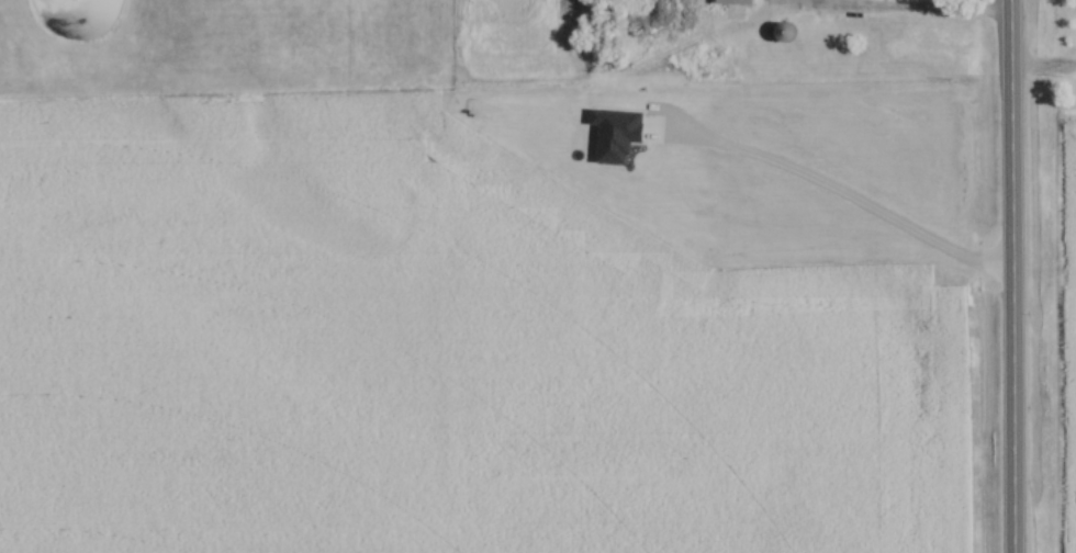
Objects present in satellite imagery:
building: (736, 2)
road: (881, 15)
building: (785, 33)
road: (1010, 275)

